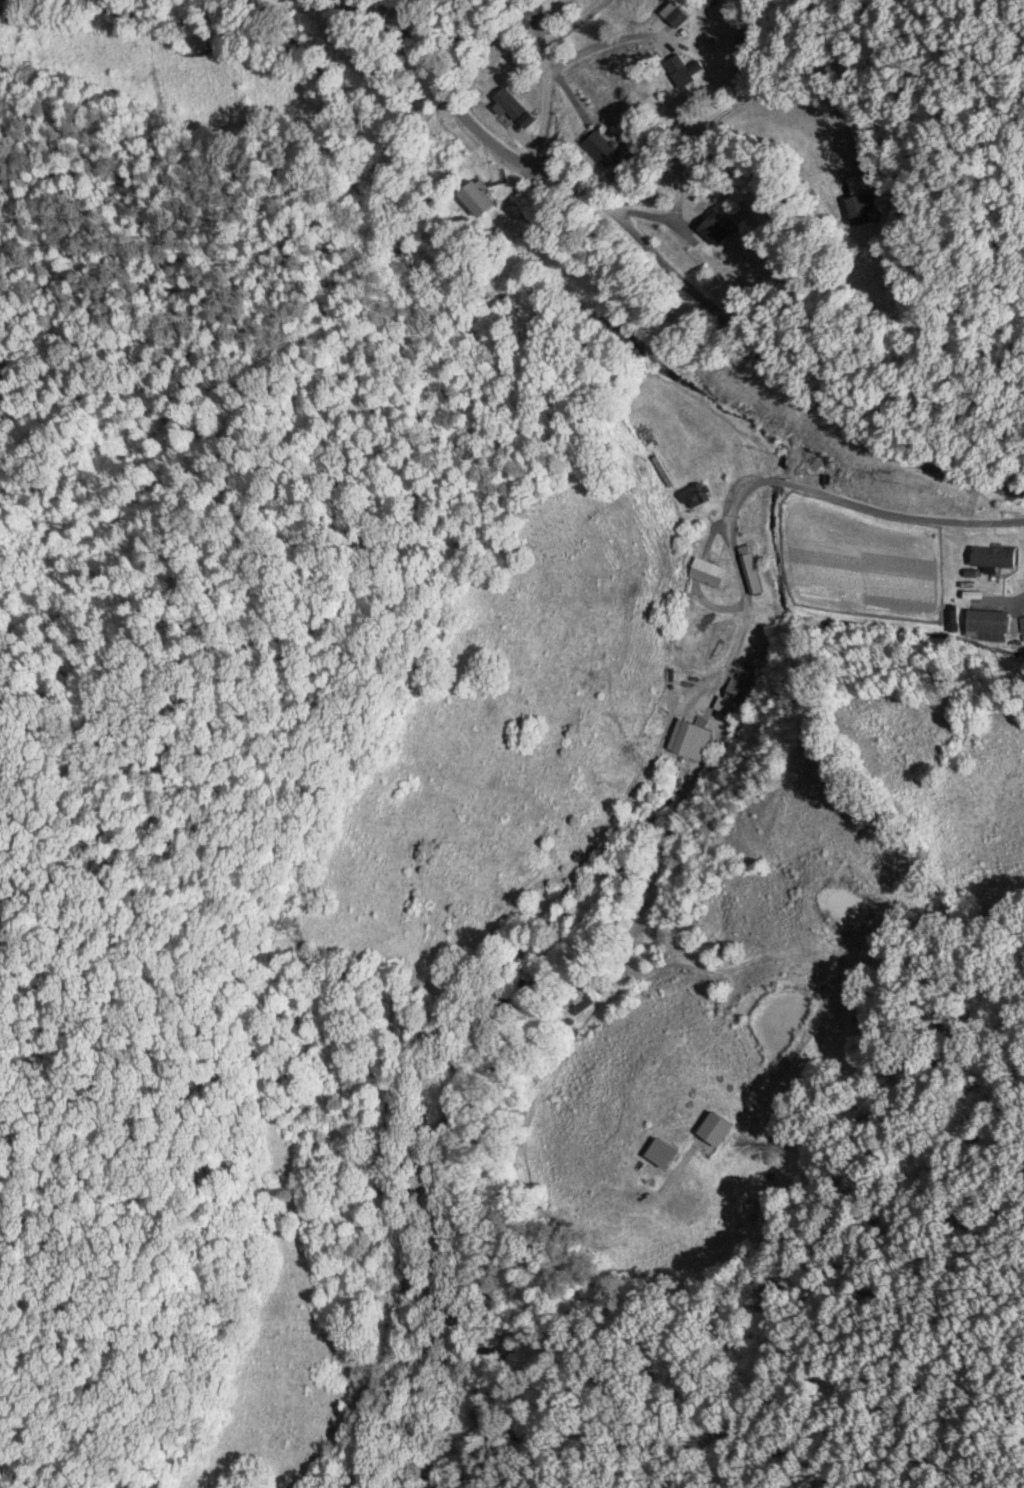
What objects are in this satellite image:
building: (529, 12)
building: (673, 13)
road: (499, 55)
building: (678, 69)
building: (512, 106)
road: (732, 113)
building: (599, 146)
building: (474, 196)
building: (858, 205)
building: (713, 225)
road: (956, 231)
road: (642, 239)
road: (1011, 487)
building: (694, 493)
road: (816, 516)
building: (991, 554)
building: (749, 567)
building: (707, 570)
building: (1022, 621)
building: (987, 623)
building: (728, 708)
building: (689, 738)
building: (547, 841)
building: (574, 997)

